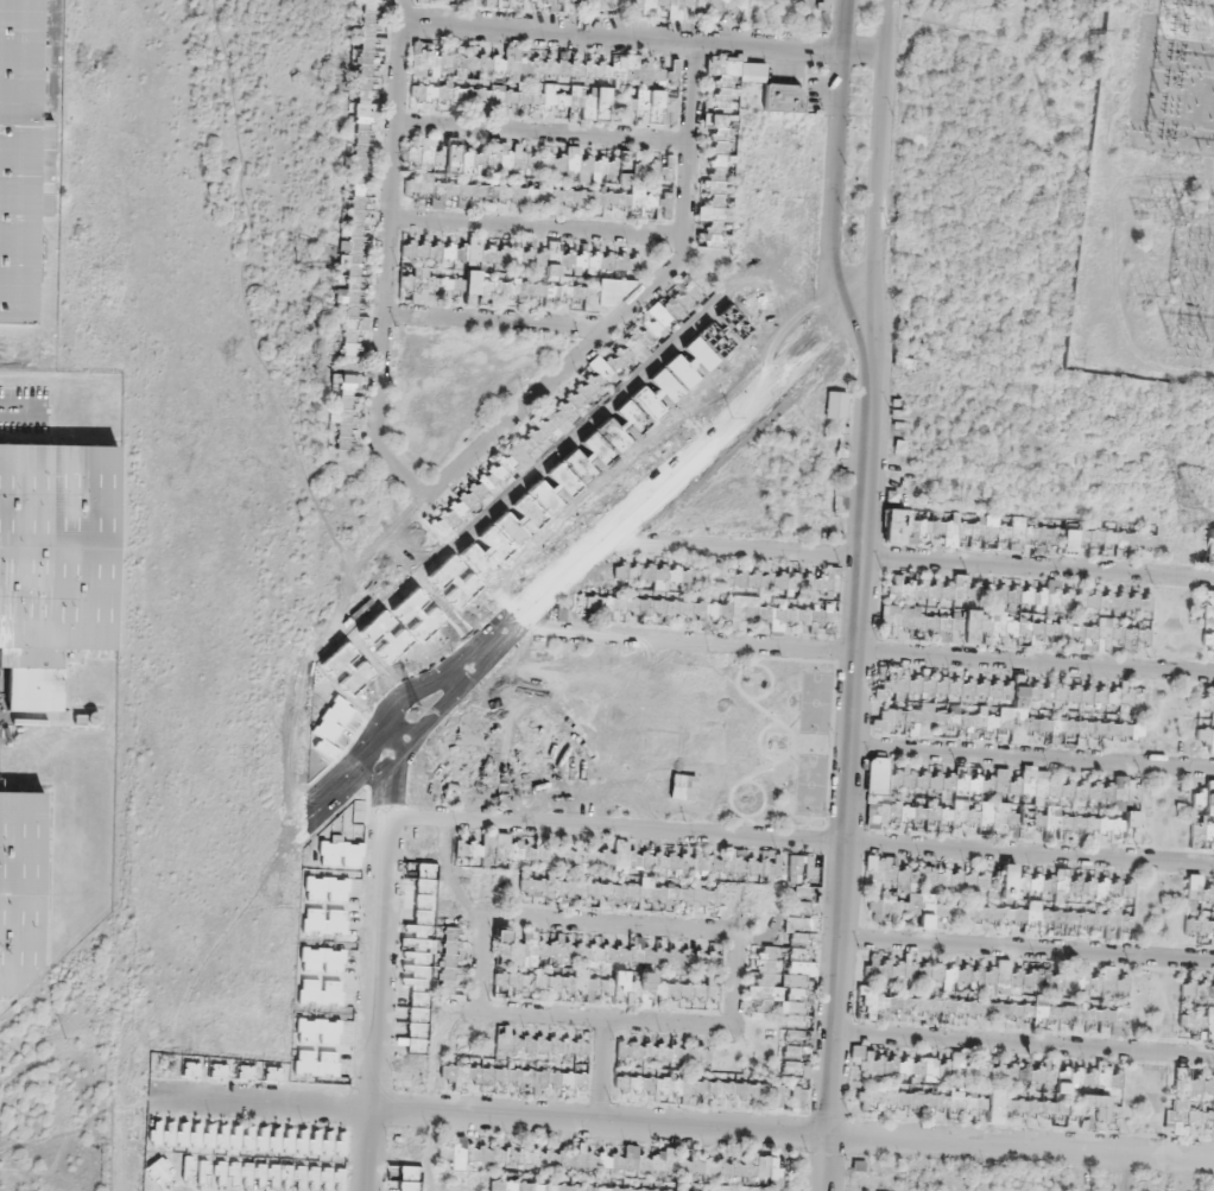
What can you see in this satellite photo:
power tower: (1052, 116)
power substation: (1156, 195)
power tower: (1190, 520)
power tower: (421, 709)
park: (774, 743)
power tower: (62, 1041)

